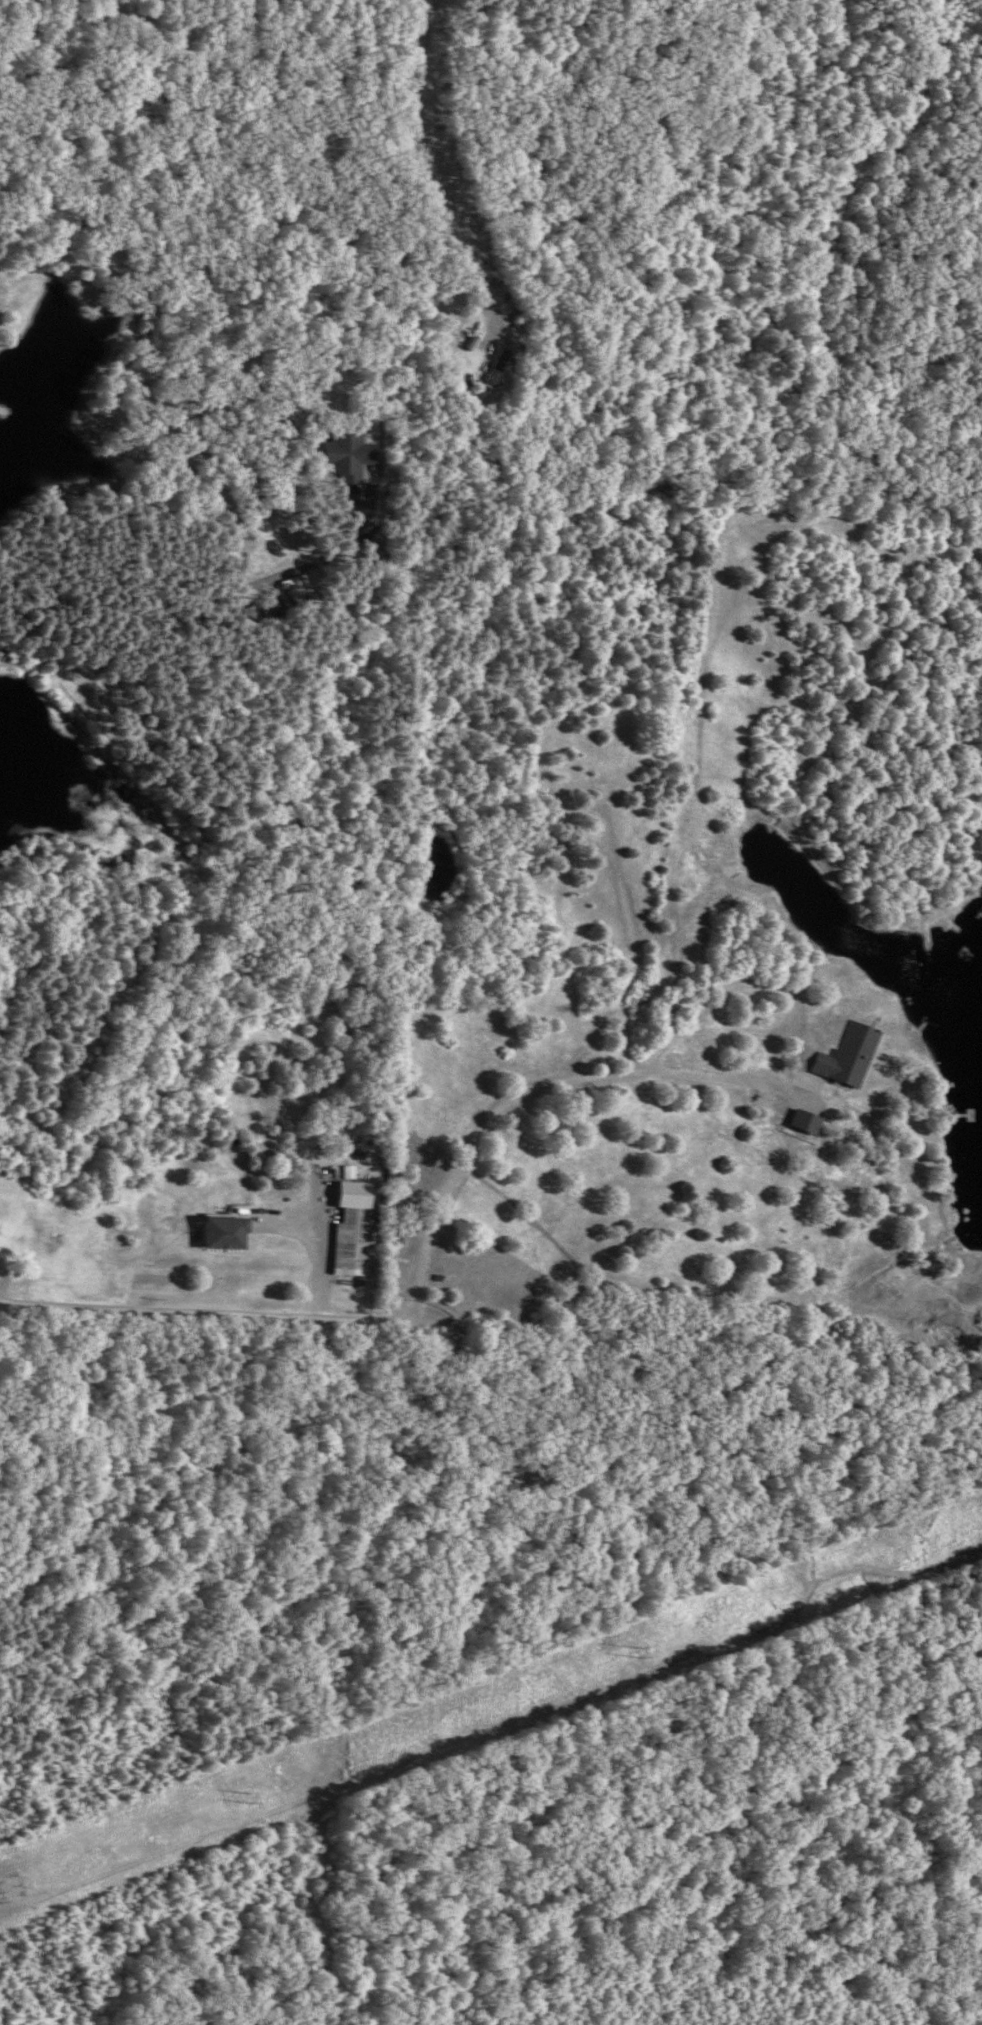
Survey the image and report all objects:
building: (487, 373)
building: (342, 455)
road: (783, 991)
building: (823, 1045)
road: (457, 1173)
building: (344, 1241)
road: (166, 1310)
road: (680, 1664)
road: (208, 1711)

